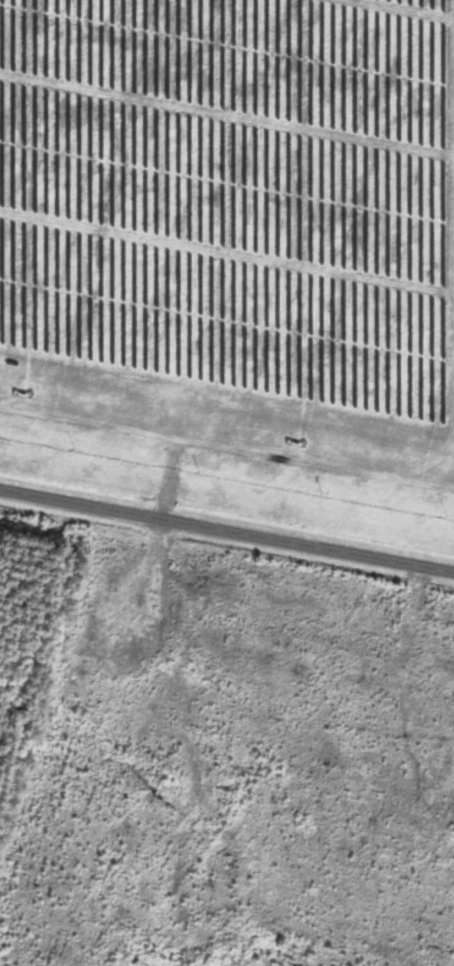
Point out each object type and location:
road: (227, 536)

